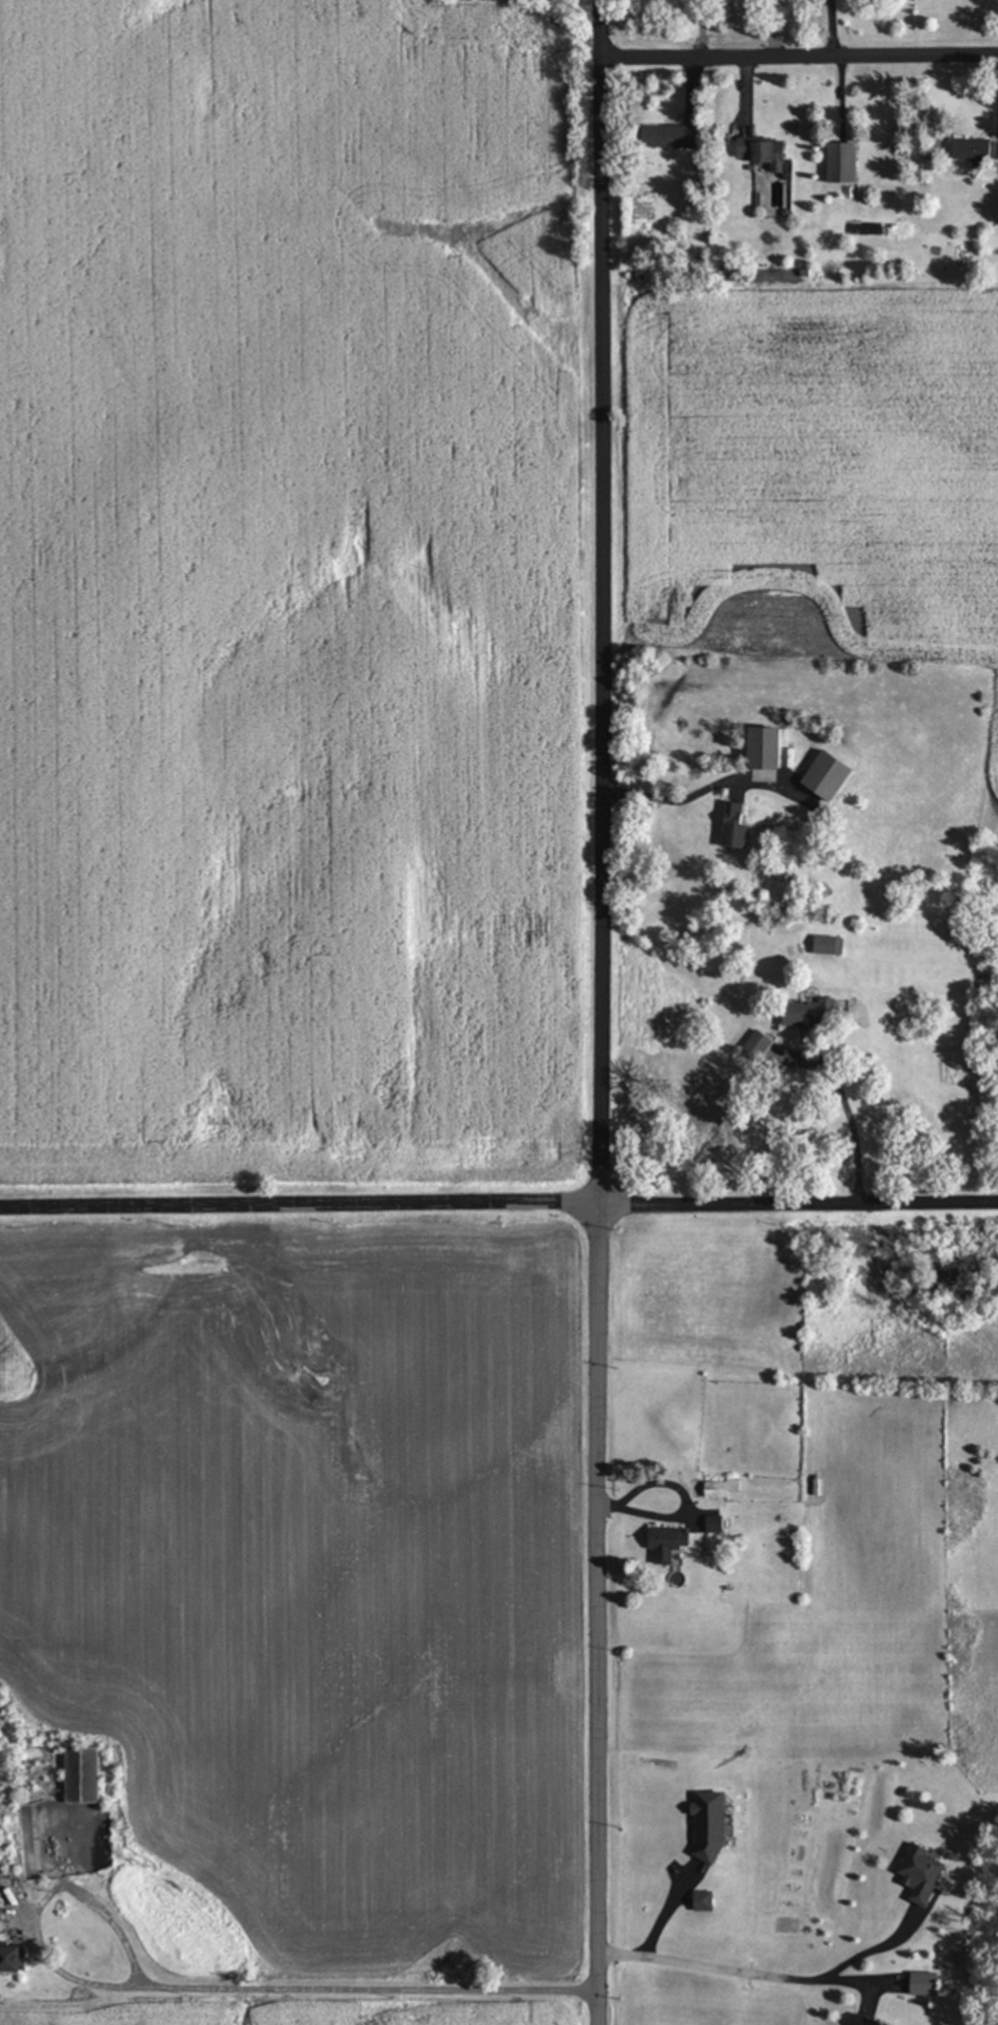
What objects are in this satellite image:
road: (831, 26)
road: (798, 52)
building: (672, 136)
building: (973, 149)
building: (996, 150)
building: (766, 152)
building: (844, 162)
building: (770, 748)
building: (832, 776)
road: (704, 794)
building: (738, 826)
building: (831, 944)
road: (600, 1012)
building: (816, 1013)
road: (856, 1138)
road: (499, 1219)
building: (725, 1487)
road: (683, 1509)
building: (673, 1541)
building: (85, 1774)
building: (713, 1825)
building: (926, 1873)
building: (707, 1900)
building: (1, 1908)
road: (669, 1915)
road: (872, 1953)
building: (16, 1958)
road: (742, 1973)
building: (928, 1983)
road: (208, 1987)
building: (872, 2020)

